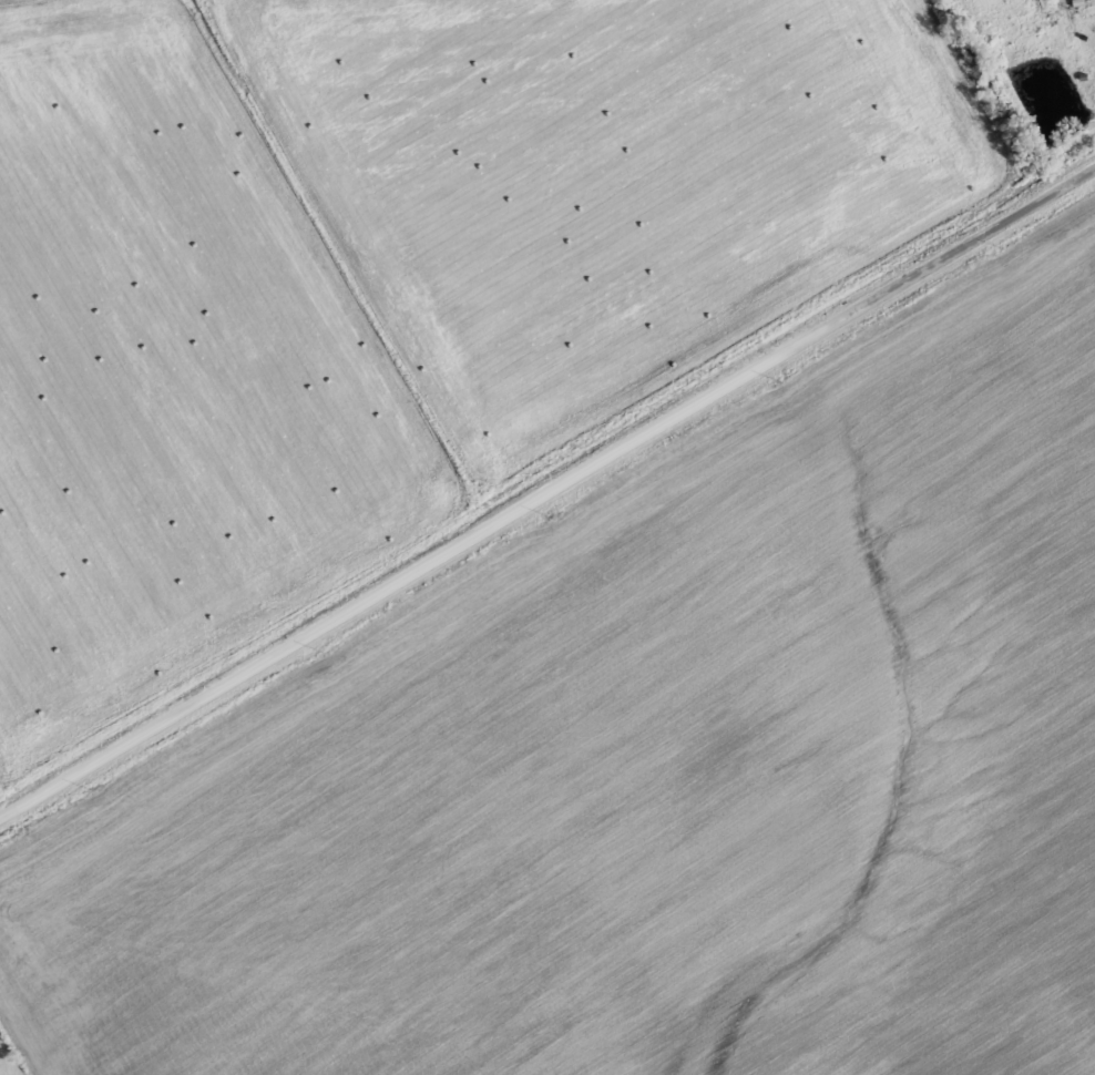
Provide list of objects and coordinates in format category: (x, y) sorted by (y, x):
road: (547, 494)

